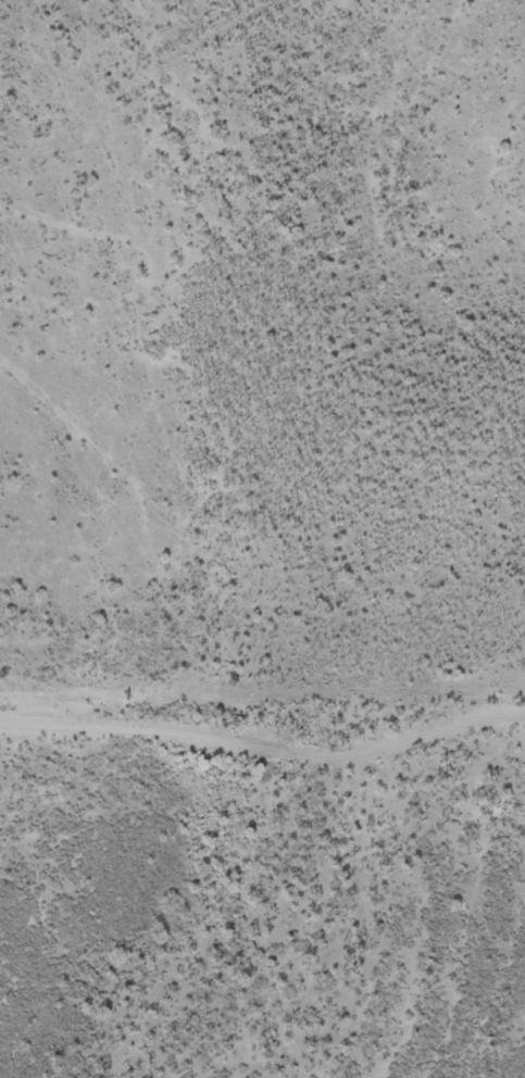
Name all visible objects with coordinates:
road: (264, 747)

